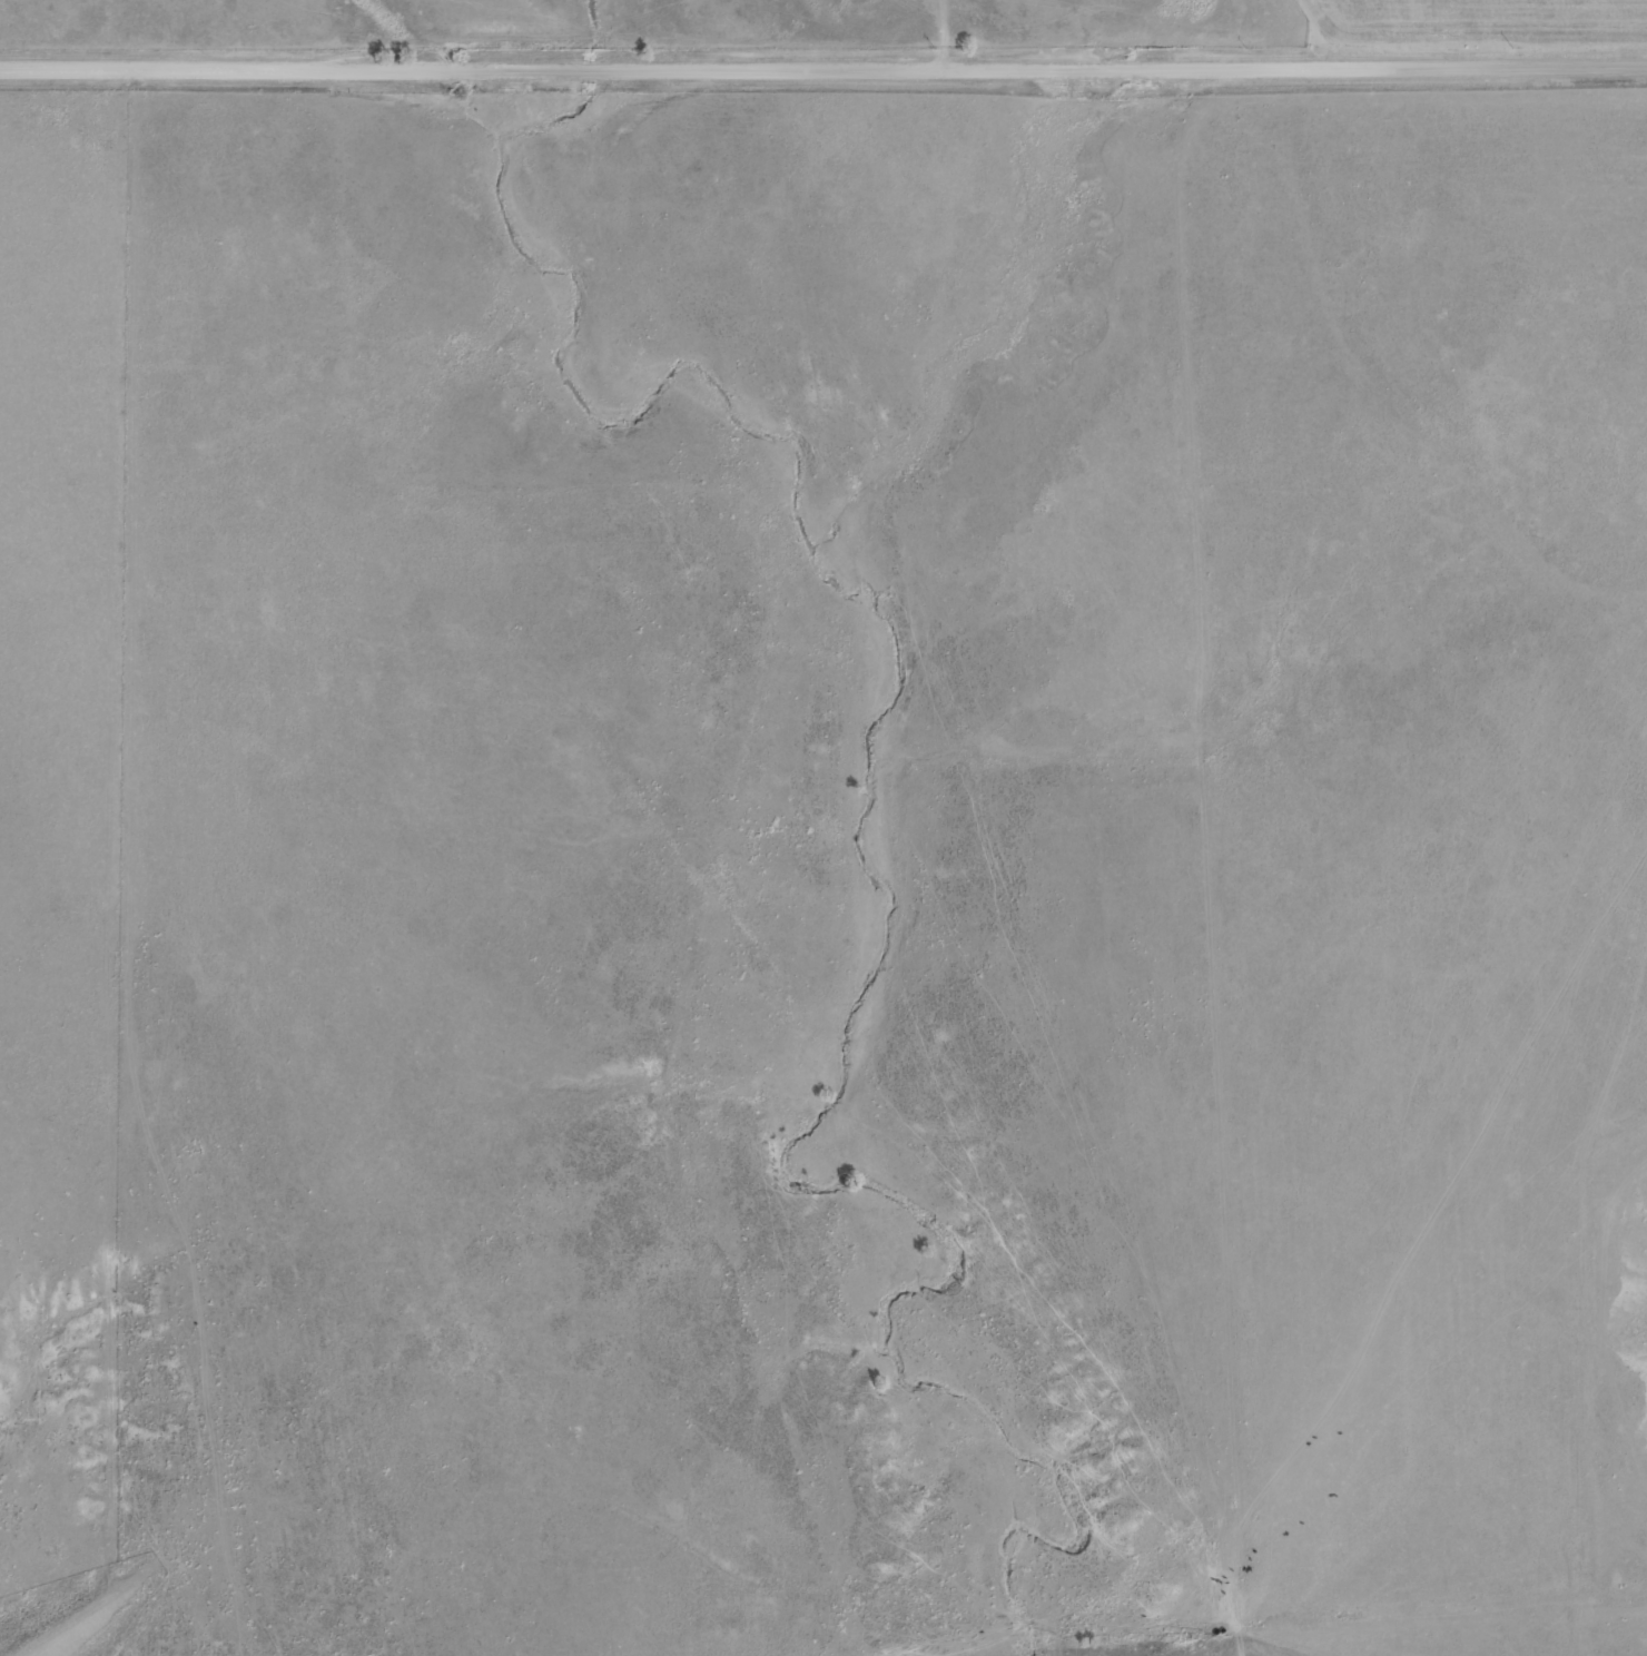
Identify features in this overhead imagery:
road: (822, 68)

